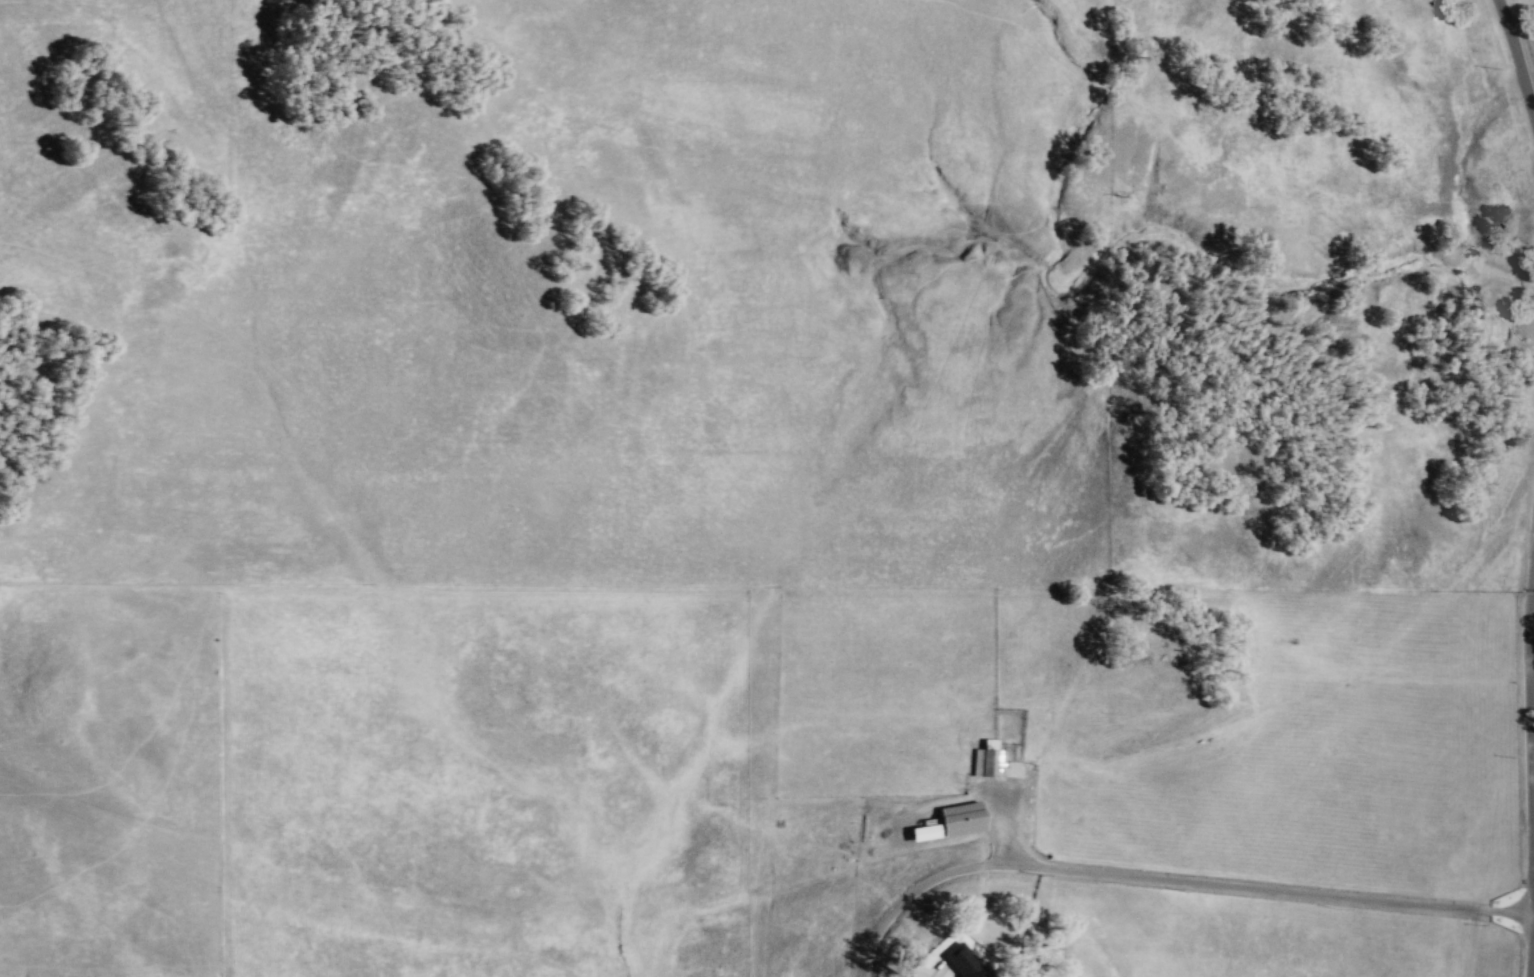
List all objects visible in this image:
road: (1520, 42)
building: (987, 761)
building: (924, 831)
road: (1168, 878)
building: (969, 962)
road: (948, 973)

